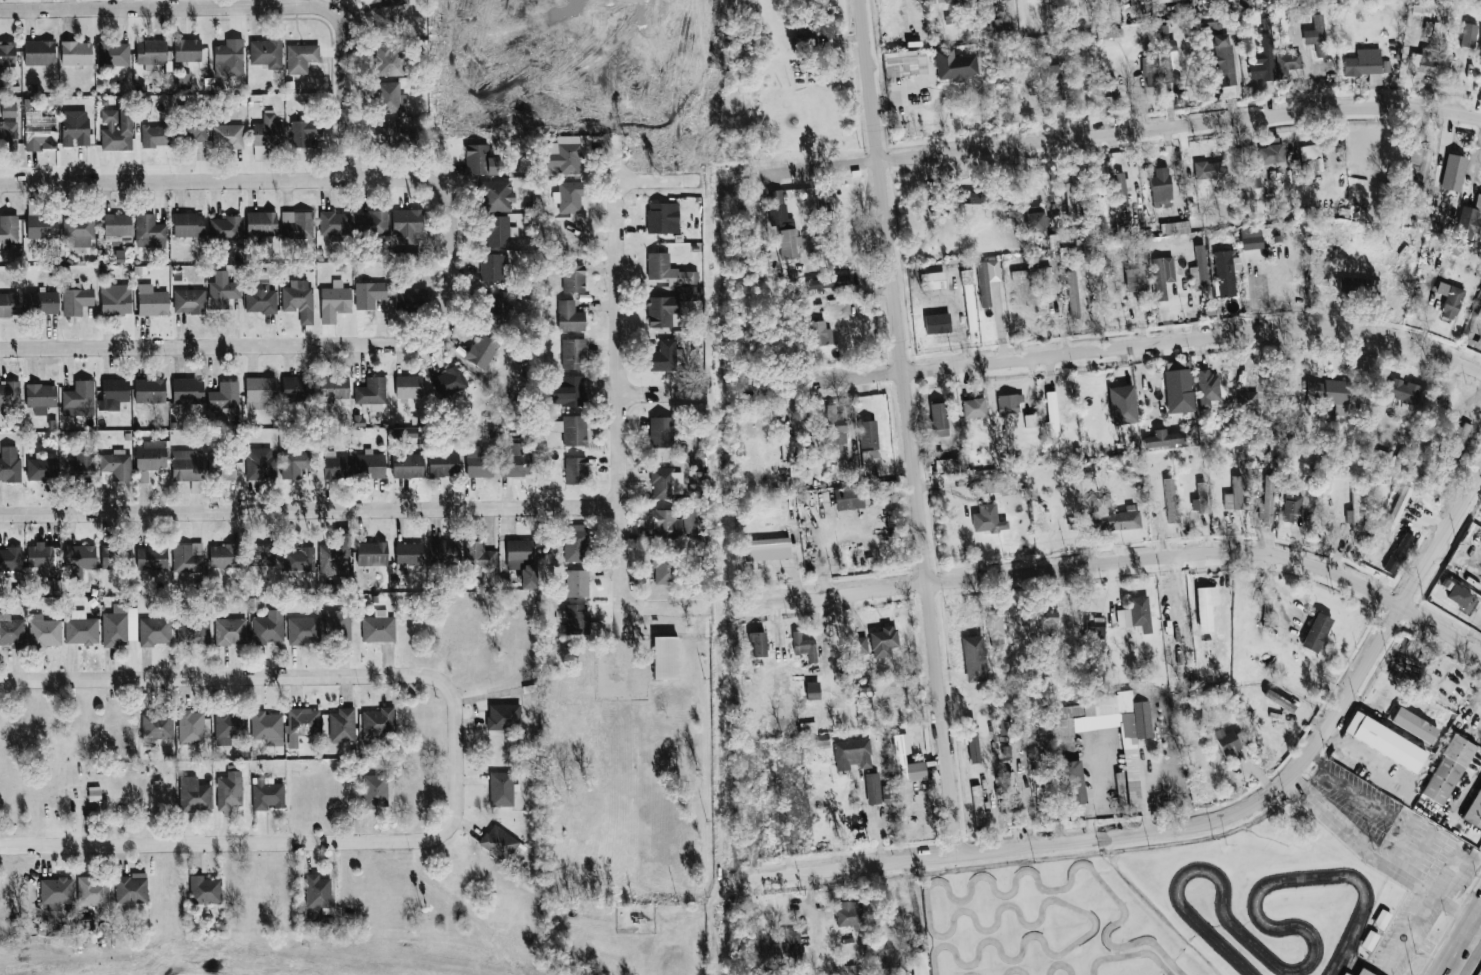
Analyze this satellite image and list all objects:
building: (1005, 0)
building: (1154, 0)
building: (1309, 0)
building: (400, 2)
building: (935, 2)
road: (251, 9)
building: (983, 9)
building: (1420, 10)
building: (904, 19)
building: (384, 21)
building: (1209, 25)
building: (1161, 30)
building: (1109, 33)
building: (1316, 35)
building: (1469, 36)
building: (187, 50)
building: (39, 53)
building: (76, 53)
building: (113, 53)
building: (151, 53)
building: (266, 53)
building: (1480, 53)
building: (7, 54)
building: (229, 58)
building: (301, 58)
building: (1168, 59)
building: (1480, 59)
building: (389, 60)
building: (1222, 61)
building: (1425, 61)
building: (1262, 62)
building: (1287, 64)
building: (1151, 65)
building: (901, 66)
building: (1366, 66)
building: (956, 68)
building: (186, 78)
building: (168, 80)
building: (1051, 83)
building: (1108, 87)
building: (389, 97)
building: (75, 128)
building: (195, 129)
building: (116, 130)
building: (388, 130)
building: (267, 131)
building: (8, 132)
building: (303, 132)
road: (1116, 133)
building: (154, 136)
building: (228, 136)
building: (40, 137)
building: (1310, 152)
building: (568, 153)
building: (1250, 156)
building: (1272, 156)
building: (477, 158)
building: (1418, 166)
building: (1210, 171)
building: (1254, 175)
road: (290, 177)
road: (659, 179)
building: (1449, 179)
building: (1120, 190)
building: (1160, 190)
building: (496, 196)
building: (570, 197)
building: (970, 197)
building: (1071, 202)
building: (821, 205)
building: (776, 207)
building: (1103, 216)
building: (658, 218)
building: (1090, 218)
building: (1467, 219)
building: (334, 223)
building: (371, 223)
building: (188, 224)
building: (261, 224)
building: (1035, 224)
building: (117, 225)
building: (297, 225)
building: (407, 225)
building: (225, 228)
building: (9, 229)
building: (747, 230)
building: (78, 231)
building: (149, 231)
building: (499, 231)
building: (1057, 238)
building: (1251, 239)
building: (790, 243)
building: (492, 267)
building: (666, 271)
building: (1199, 272)
building: (1030, 273)
building: (1226, 273)
building: (1162, 276)
building: (573, 278)
building: (1141, 278)
building: (930, 281)
building: (983, 284)
building: (813, 285)
building: (1361, 287)
building: (222, 290)
building: (372, 290)
building: (685, 293)
building: (1073, 293)
building: (411, 299)
building: (1450, 299)
building: (116, 300)
building: (299, 300)
building: (76, 301)
building: (152, 301)
building: (189, 301)
building: (260, 301)
building: (43, 302)
building: (335, 302)
building: (9, 305)
building: (809, 305)
building: (497, 306)
building: (969, 307)
building: (1209, 309)
building: (659, 312)
building: (1478, 314)
building: (570, 317)
building: (936, 324)
building: (835, 327)
building: (819, 334)
road: (1123, 345)
road: (228, 347)
building: (482, 351)
building: (573, 353)
building: (664, 357)
building: (1181, 379)
building: (450, 381)
building: (335, 387)
building: (409, 387)
building: (1208, 388)
building: (298, 389)
building: (150, 390)
road: (662, 390)
building: (187, 391)
building: (259, 391)
building: (371, 391)
building: (568, 391)
building: (1404, 391)
building: (1331, 393)
building: (9, 394)
building: (113, 394)
road: (621, 396)
building: (41, 397)
building: (225, 398)
building: (79, 399)
building: (1248, 400)
building: (1127, 405)
building: (974, 408)
building: (1010, 409)
building: (1052, 415)
building: (938, 417)
building: (1031, 421)
road: (907, 428)
building: (572, 429)
building: (835, 430)
building: (410, 432)
building: (661, 433)
building: (868, 434)
building: (1163, 439)
building: (1459, 441)
building: (784, 443)
building: (151, 456)
building: (1401, 456)
building: (1382, 457)
building: (479, 461)
building: (516, 461)
building: (849, 461)
building: (870, 462)
building: (261, 463)
building: (9, 464)
building: (294, 464)
building: (443, 464)
building: (117, 465)
building: (186, 465)
building: (370, 465)
building: (407, 465)
building: (945, 465)
building: (81, 467)
building: (42, 468)
building: (221, 468)
building: (575, 471)
building: (661, 483)
building: (992, 483)
building: (1235, 495)
building: (848, 498)
building: (1200, 498)
building: (1269, 499)
building: (1170, 500)
building: (1292, 503)
building: (1398, 507)
road: (311, 510)
building: (1356, 511)
building: (986, 518)
building: (1116, 522)
building: (666, 526)
road: (823, 539)
building: (576, 543)
building: (768, 544)
building: (1402, 547)
building: (443, 551)
building: (372, 553)
building: (409, 553)
building: (262, 554)
building: (116, 556)
building: (224, 556)
building: (188, 557)
building: (334, 557)
building: (41, 558)
building: (151, 558)
building: (478, 558)
building: (10, 559)
building: (298, 559)
building: (79, 560)
road: (1136, 560)
building: (522, 561)
building: (664, 568)
building: (577, 583)
building: (1461, 597)
road: (666, 607)
building: (1204, 610)
building: (1139, 611)
building: (1168, 614)
building: (575, 618)
building: (1050, 619)
building: (120, 625)
building: (338, 626)
building: (995, 626)
building: (378, 627)
building: (268, 628)
building: (1095, 628)
building: (81, 629)
building: (303, 630)
building: (11, 631)
building: (44, 631)
building: (154, 631)
building: (231, 631)
building: (193, 633)
building: (1315, 633)
building: (882, 642)
building: (758, 643)
building: (804, 647)
building: (859, 647)
building: (666, 657)
building: (973, 658)
road: (302, 675)
building: (812, 690)
building: (866, 694)
building: (1279, 700)
building: (503, 717)
building: (303, 722)
building: (1003, 724)
building: (266, 725)
building: (342, 725)
building: (377, 725)
building: (1414, 725)
building: (156, 726)
building: (191, 727)
building: (228, 727)
building: (808, 727)
building: (117, 728)
building: (1111, 729)
building: (818, 740)
building: (972, 741)
building: (1385, 742)
building: (1227, 743)
building: (1006, 751)
building: (853, 755)
building: (903, 761)
building: (1448, 770)
road: (1320, 775)
road: (1296, 776)
building: (1075, 782)
building: (873, 788)
road: (1404, 788)
road: (1462, 788)
building: (501, 789)
building: (1120, 789)
building: (229, 790)
building: (375, 791)
building: (1009, 792)
road: (1089, 793)
building: (94, 794)
building: (193, 794)
building: (267, 795)
road: (1363, 803)
building: (978, 805)
building: (1474, 810)
road: (1400, 841)
building: (499, 842)
road: (223, 843)
road: (1419, 852)
road: (1376, 859)
road: (848, 868)
road: (1449, 872)
building: (131, 888)
building: (204, 890)
building: (92, 891)
building: (56, 892)
building: (317, 892)
building: (898, 916)
building: (847, 919)
building: (1381, 919)
parking lot: (1405, 932)
road: (1408, 932)
raceway: (943, 936)
road: (1464, 937)
building: (1369, 940)
road: (1430, 947)
road: (1465, 948)
building: (786, 950)
raceway: (1130, 954)
raceway: (1310, 960)
building: (919, 963)
road: (1366, 963)
raceway: (1060, 964)
road: (1353, 967)
building: (845, 970)
raceway: (1017, 970)
road: (1446, 971)
building: (1361, 972)
building: (1345, 974)

